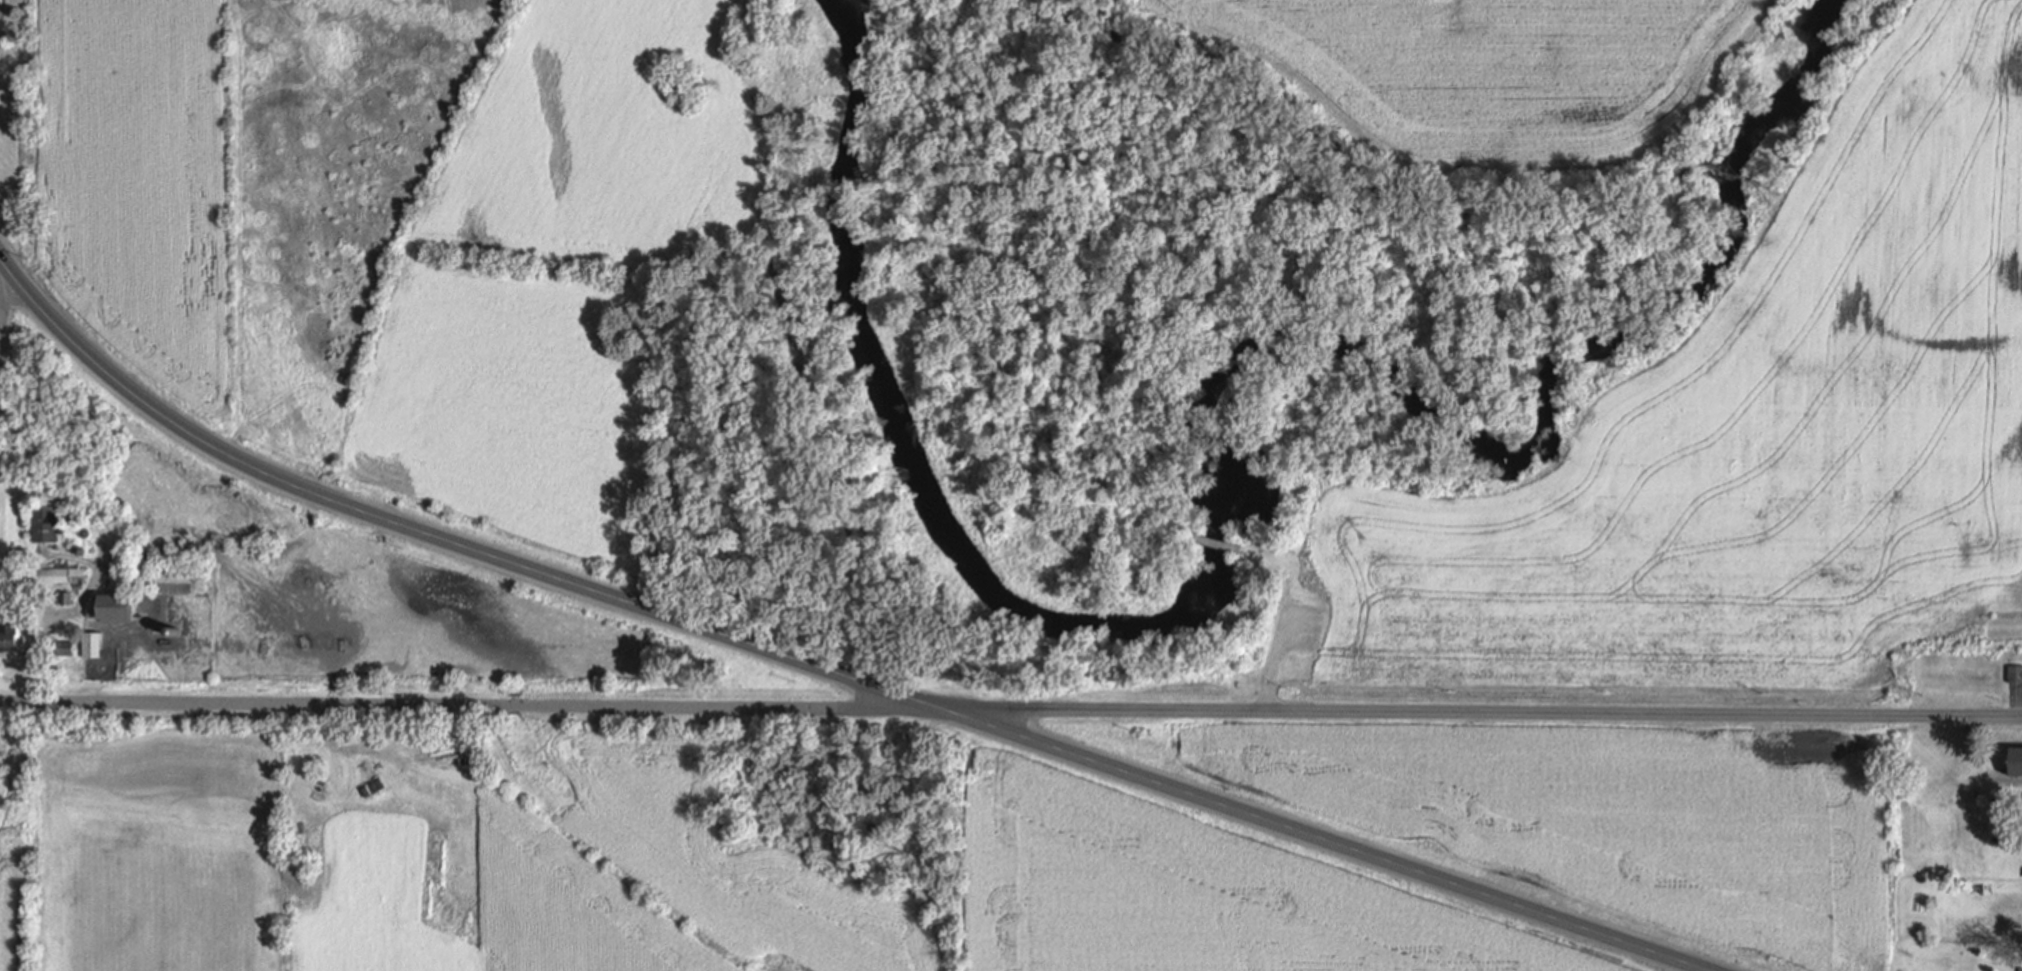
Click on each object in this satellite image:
crop: (1491, 68)
crop: (136, 180)
crop: (502, 292)
road: (31, 373)
crop: (1755, 438)
river: (1210, 444)
building: (44, 526)
building: (129, 529)
road: (1212, 542)
road: (1280, 571)
building: (56, 576)
building: (175, 582)
building: (66, 600)
building: (115, 613)
road: (1295, 621)
road: (54, 623)
parking lot: (1293, 627)
building: (8, 639)
building: (92, 646)
building: (64, 649)
road: (1271, 667)
road: (825, 668)
building: (2015, 674)
road: (319, 705)
road: (1640, 713)
building: (2016, 762)
crop: (1625, 820)
crop: (153, 847)
crop: (367, 853)
crop: (715, 853)
crop: (1200, 897)
crop: (10, 902)
crop: (569, 910)
crop: (370, 945)
building: (2020, 970)

